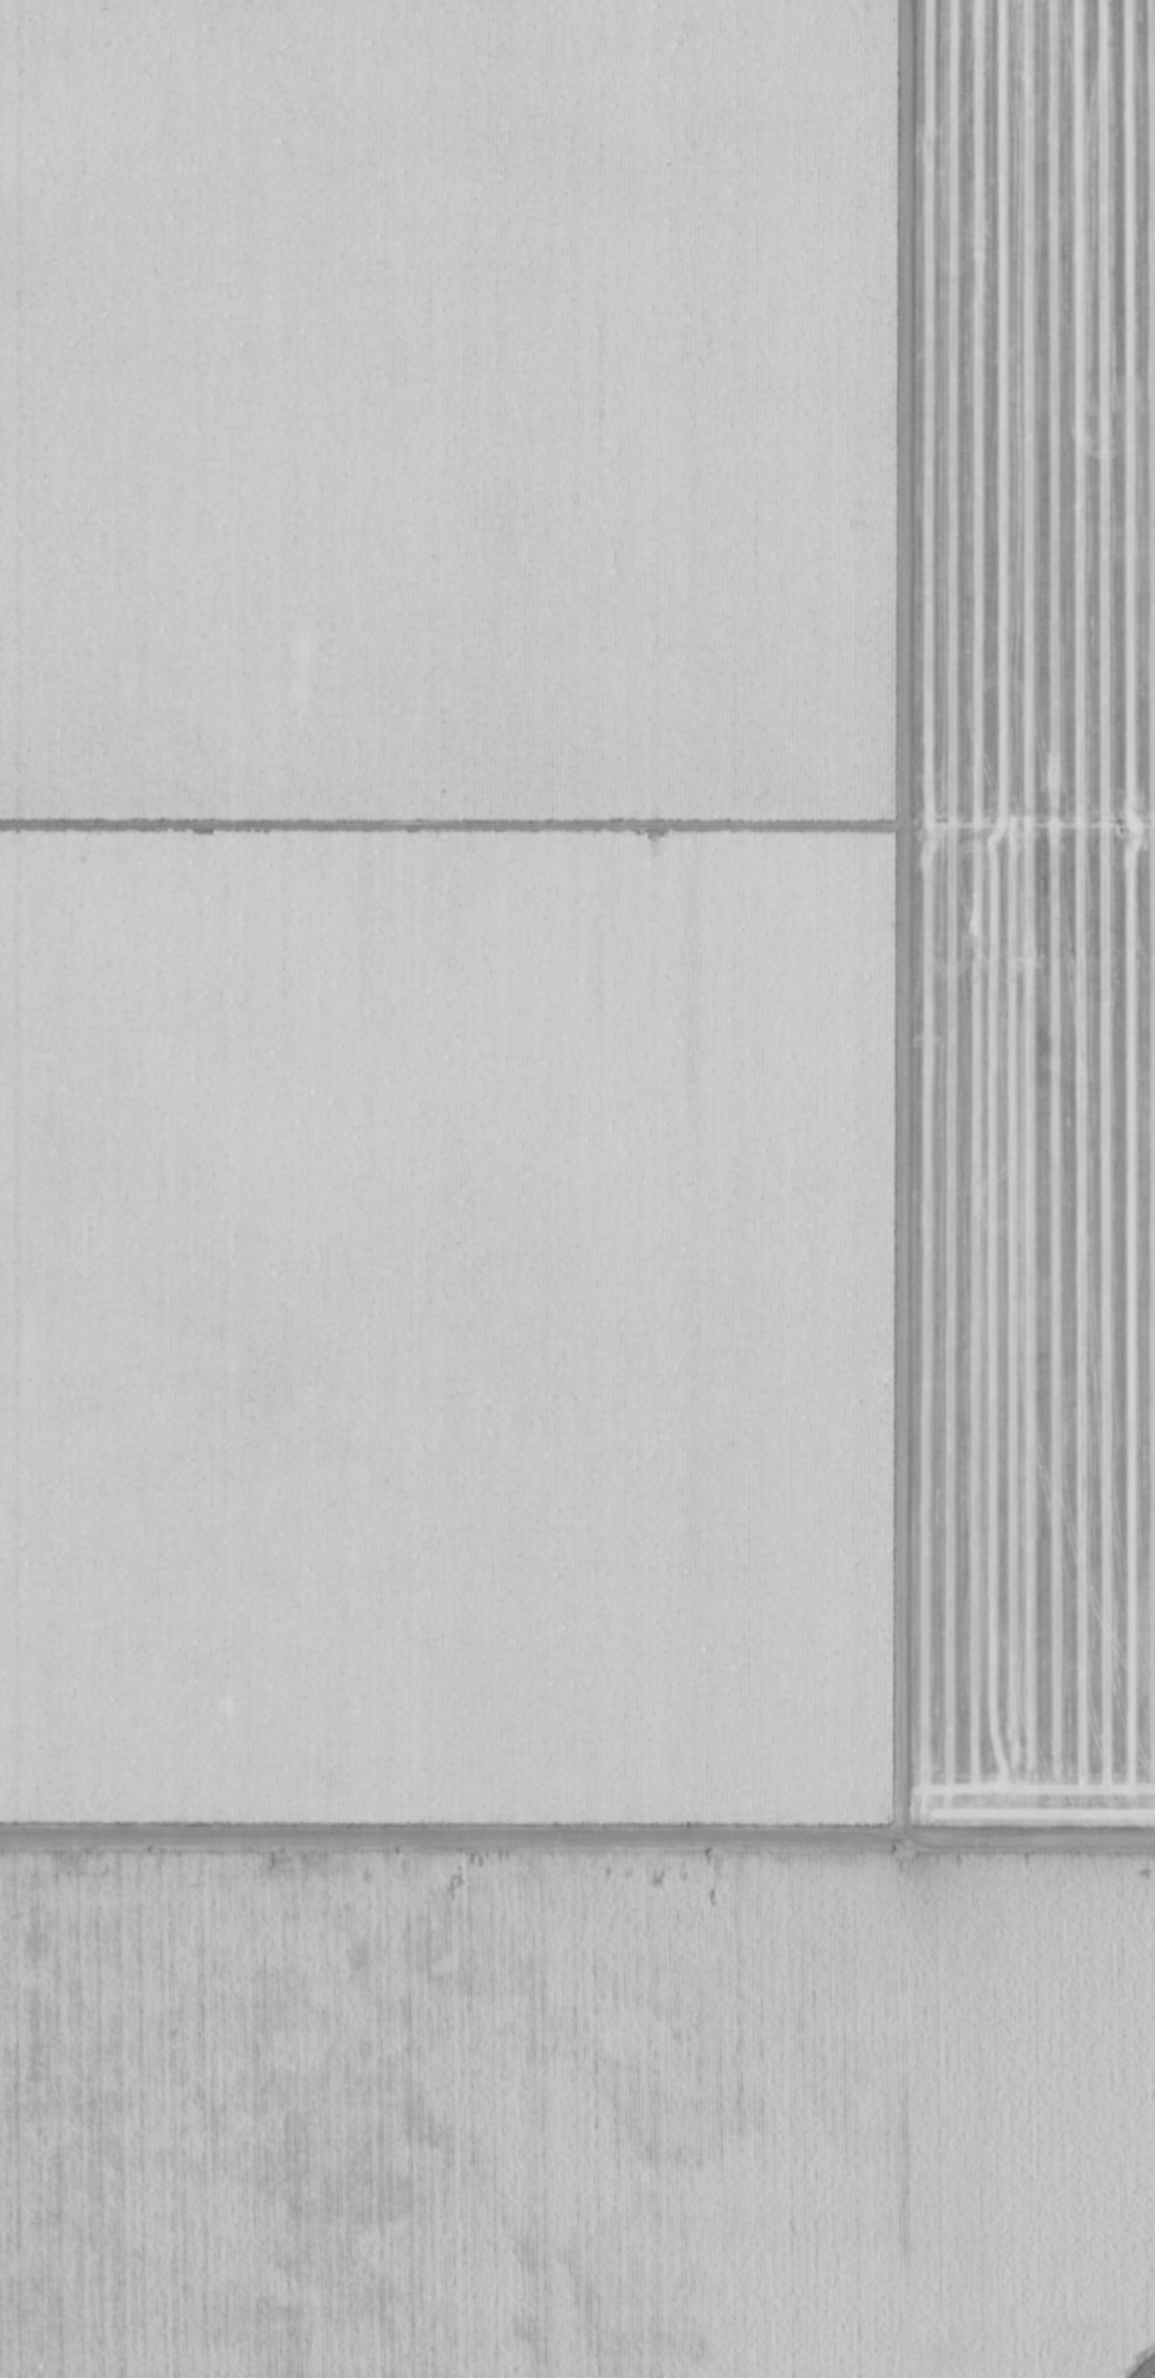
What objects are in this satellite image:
road: (902, 61)

